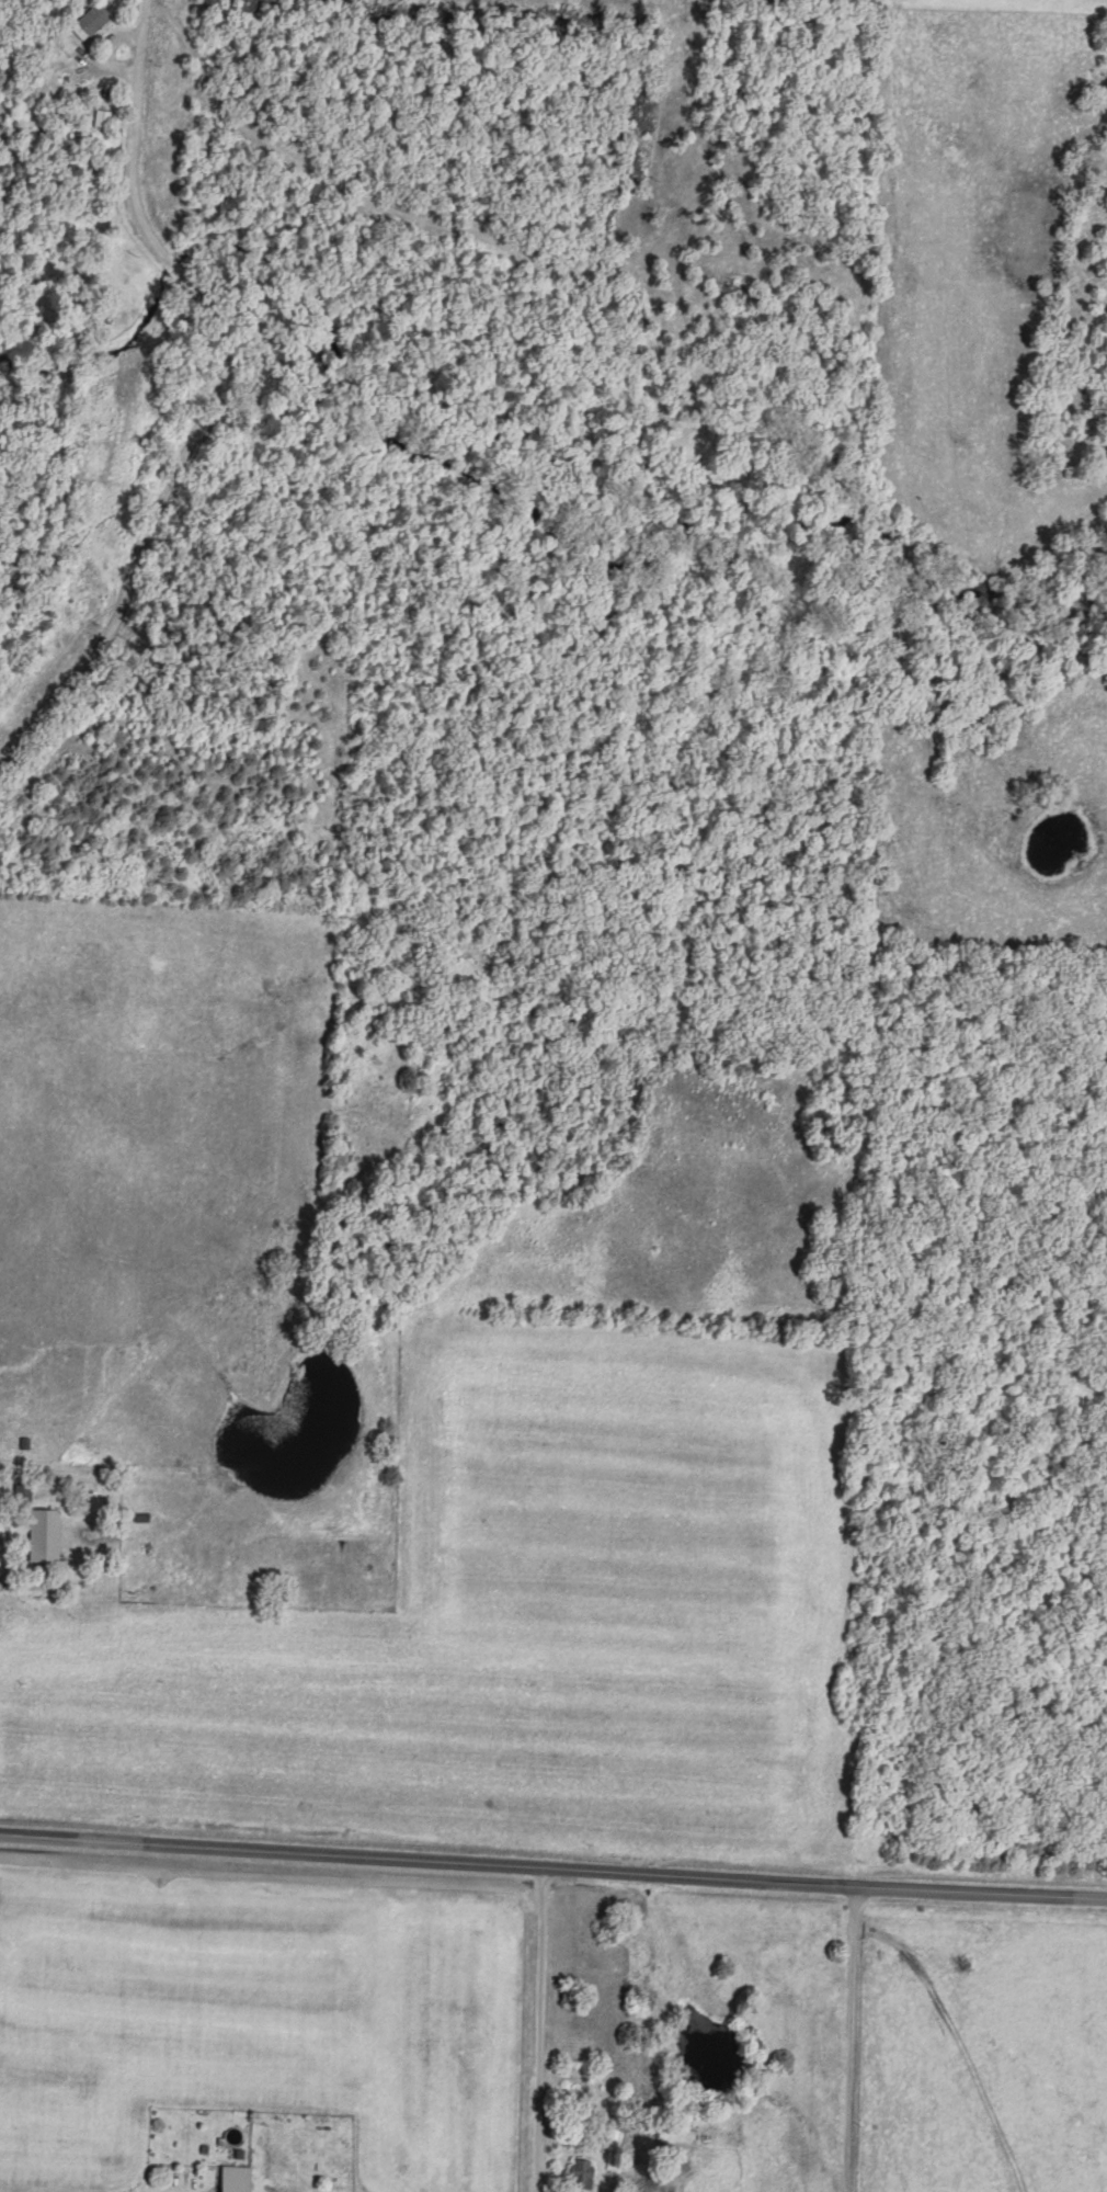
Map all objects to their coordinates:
building: (91, 18)
building: (102, 115)
road: (216, 398)
building: (45, 1532)
road: (22, 1543)
road: (552, 1872)
road: (543, 2032)
road: (854, 2042)
building: (583, 2170)
building: (236, 2177)
road: (198, 2184)

